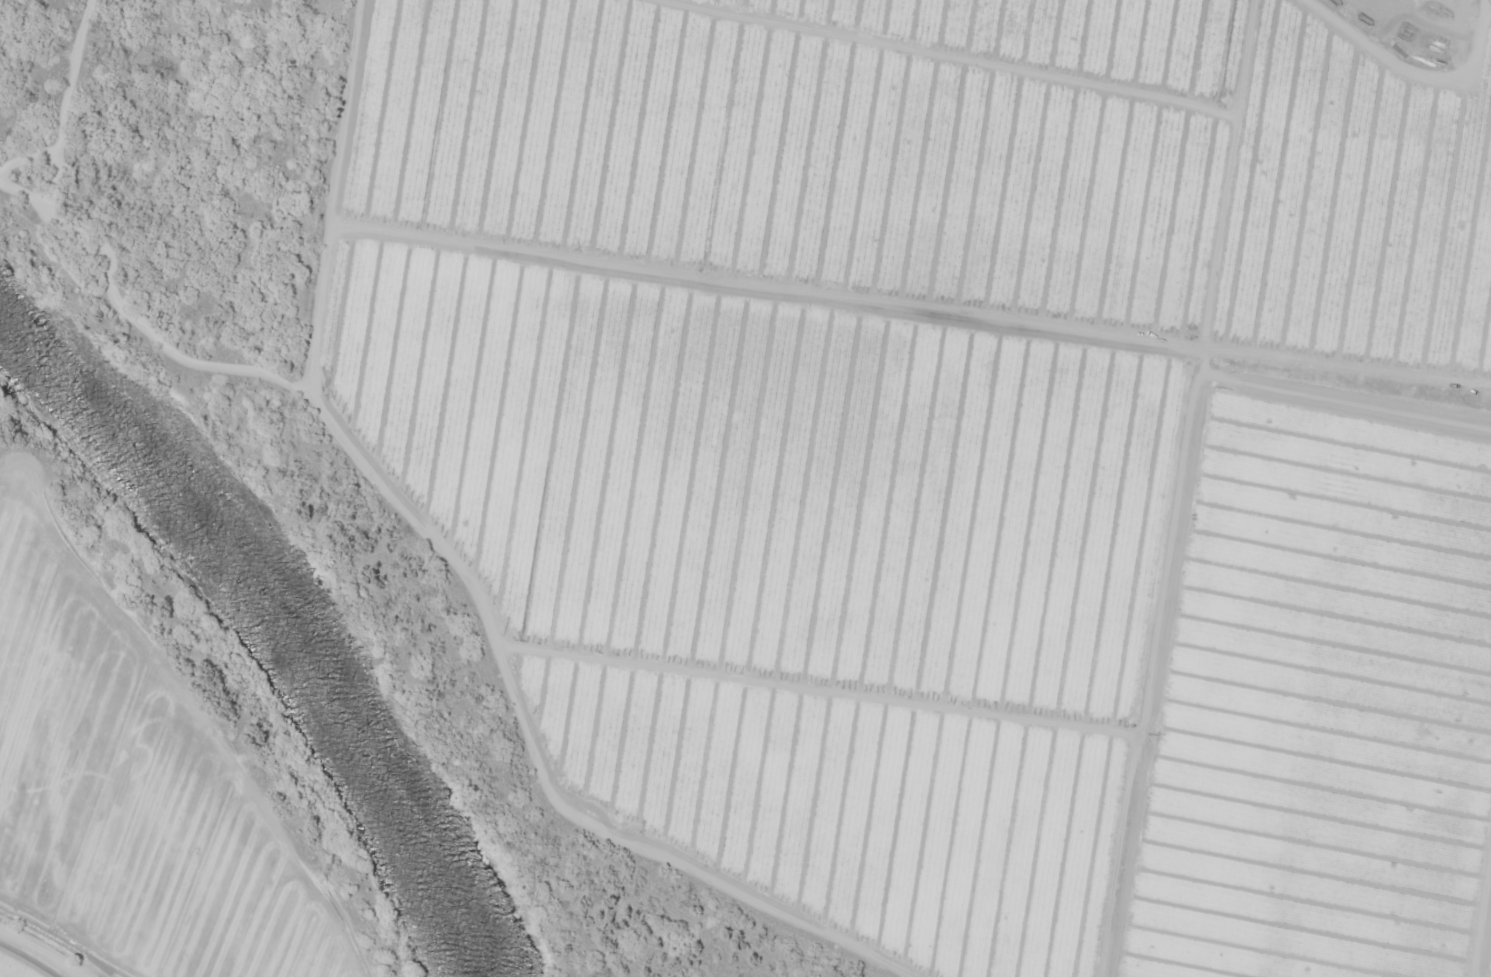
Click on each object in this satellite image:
river: (282, 615)

